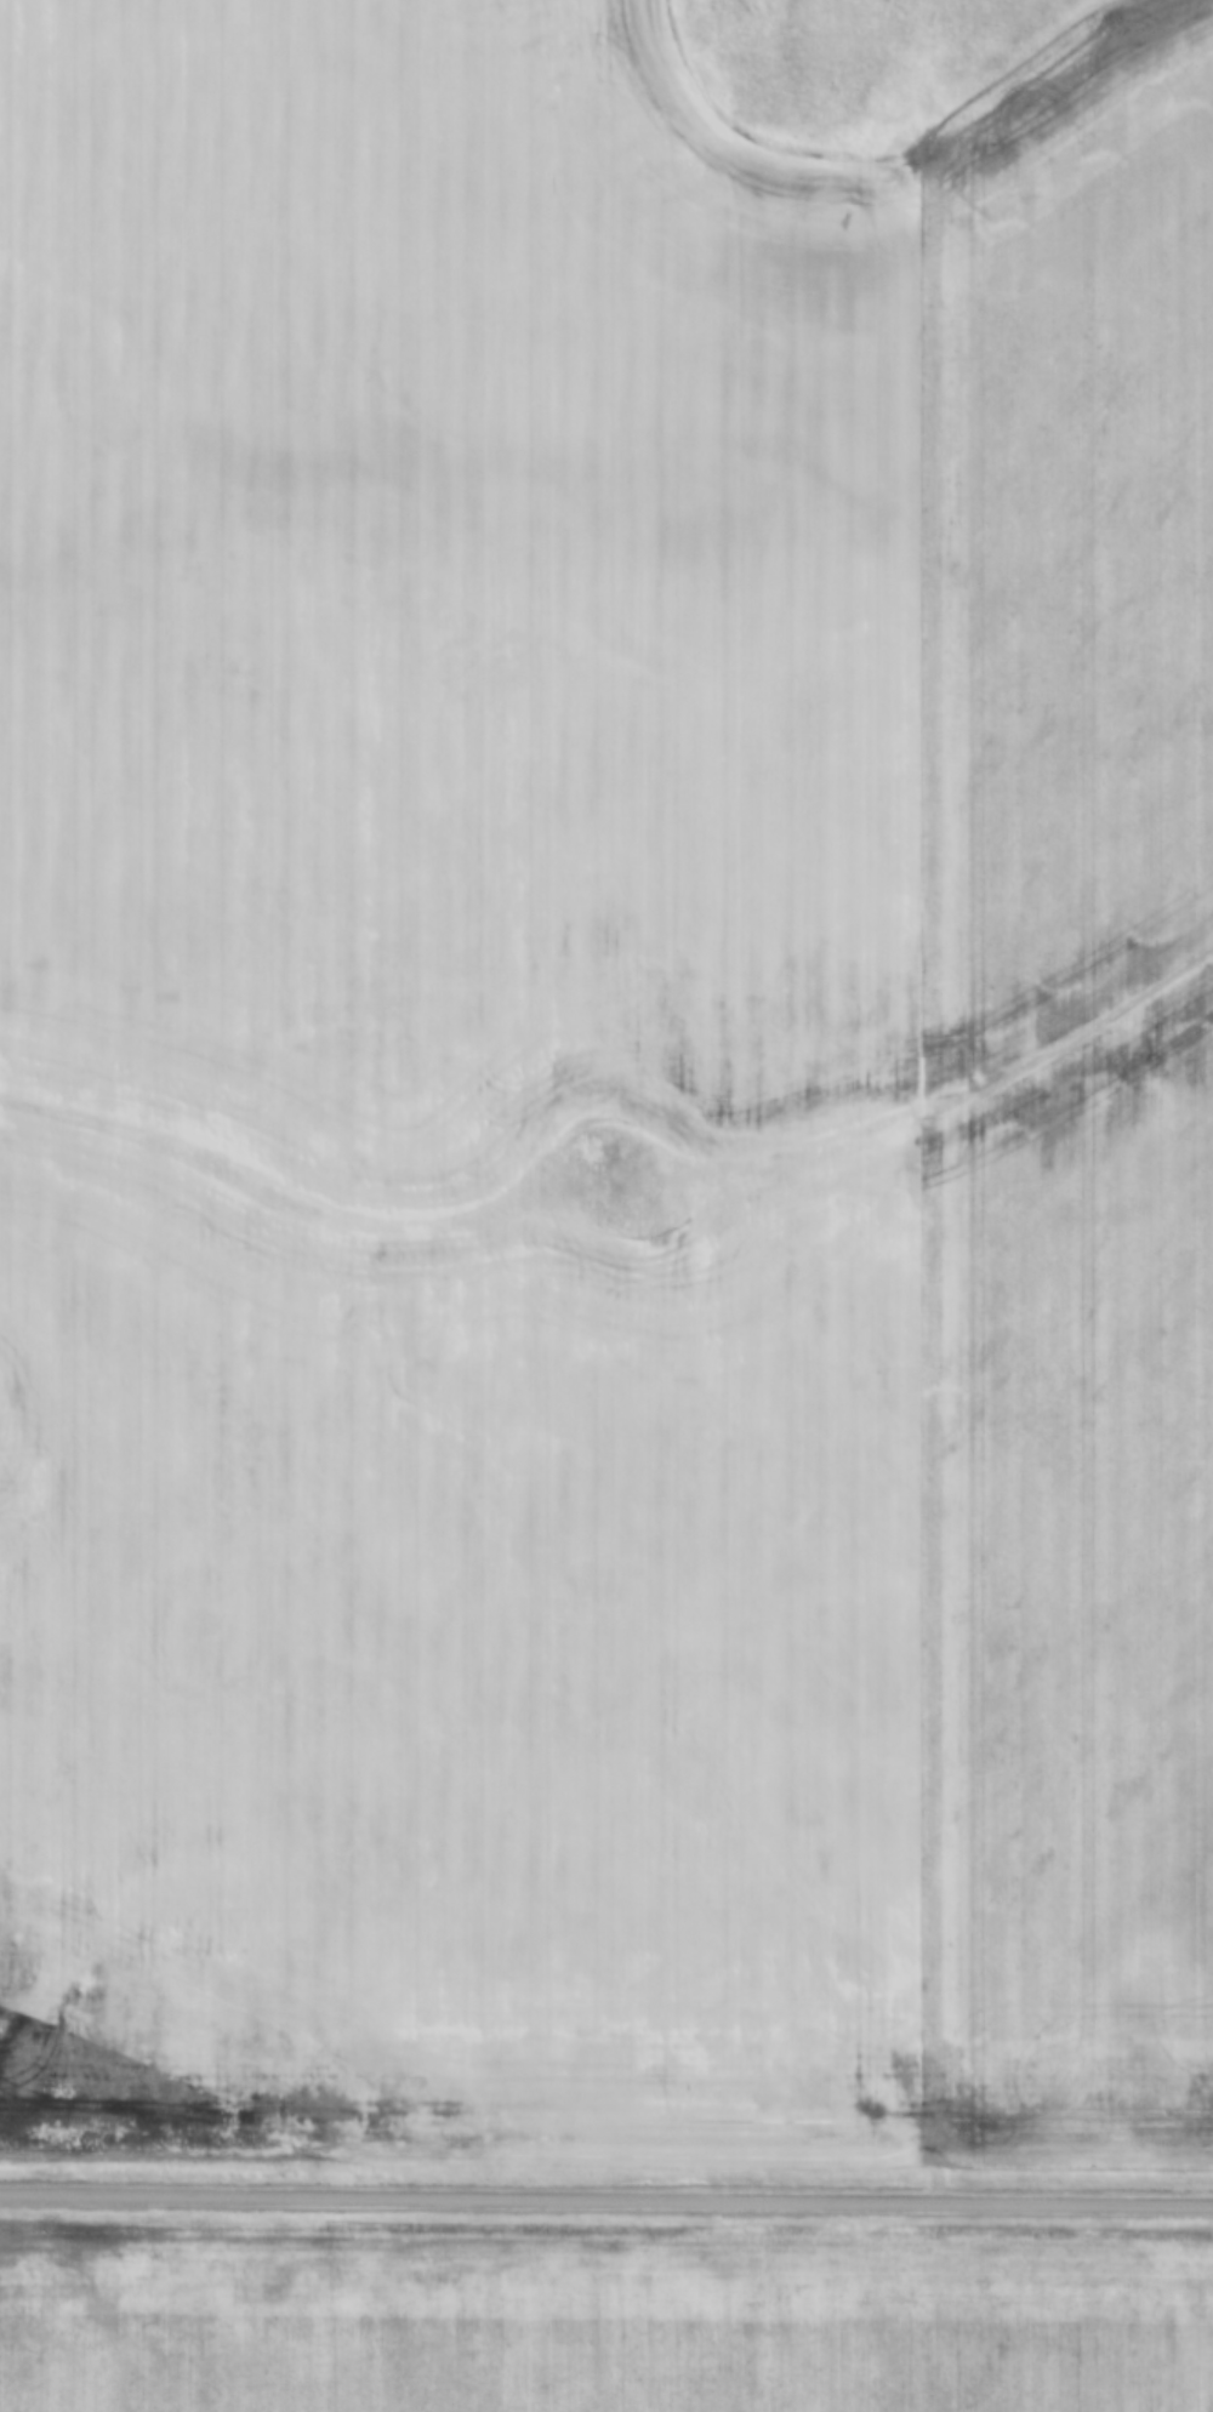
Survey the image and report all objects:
road: (606, 2195)

